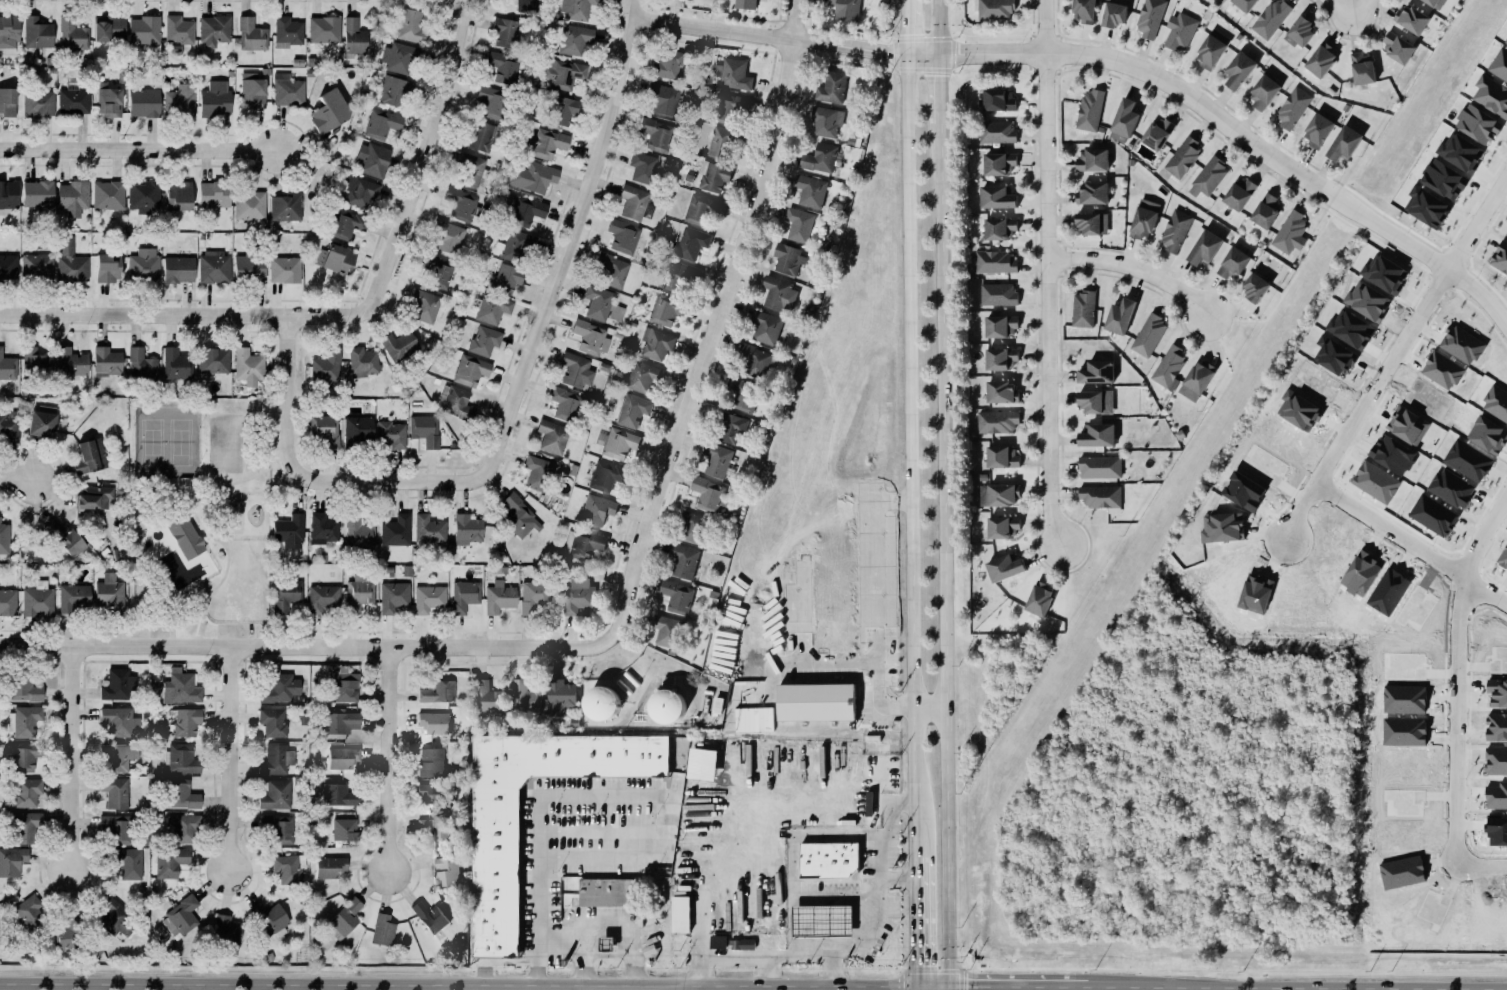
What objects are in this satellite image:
building: (1215, 0)
building: (1435, 3)
building: (1245, 4)
building: (527, 5)
building: (747, 6)
building: (574, 8)
building: (846, 9)
building: (995, 9)
building: (1084, 11)
building: (1114, 14)
road: (1347, 16)
building: (1150, 17)
building: (1271, 19)
building: (1412, 19)
building: (411, 26)
building: (107, 28)
road: (906, 28)
building: (324, 29)
road: (937, 29)
building: (144, 30)
building: (178, 30)
building: (214, 30)
building: (504, 31)
building: (1180, 31)
building: (34, 32)
building: (1300, 32)
building: (289, 33)
building: (8, 34)
building: (72, 34)
building: (251, 35)
building: (574, 39)
building: (356, 40)
building: (1506, 44)
building: (1212, 48)
building: (1398, 48)
road: (1005, 56)
building: (400, 57)
building: (666, 64)
building: (1499, 64)
building: (503, 67)
building: (1362, 69)
building: (1239, 70)
building: (561, 72)
building: (732, 74)
building: (832, 88)
road: (938, 89)
building: (252, 90)
building: (288, 90)
building: (394, 91)
building: (1263, 92)
building: (1491, 95)
building: (212, 98)
building: (71, 99)
building: (664, 99)
building: (109, 100)
building: (180, 100)
building: (998, 100)
building: (490, 101)
building: (7, 102)
building: (144, 102)
building: (38, 103)
building: (727, 106)
building: (1293, 107)
building: (560, 110)
building: (1090, 110)
building: (329, 111)
building: (1124, 121)
building: (379, 123)
building: (828, 124)
building: (1479, 124)
building: (1318, 130)
building: (997, 132)
building: (656, 133)
building: (1157, 133)
building: (481, 136)
building: (722, 142)
building: (546, 143)
building: (1344, 144)
road: (139, 150)
road: (429, 155)
building: (1183, 156)
building: (371, 158)
building: (820, 158)
building: (1092, 160)
building: (999, 164)
building: (642, 167)
building: (466, 168)
building: (530, 177)
building: (713, 177)
building: (1208, 177)
building: (1444, 179)
building: (360, 191)
building: (811, 192)
building: (107, 193)
building: (1093, 193)
building: (1239, 193)
building: (9, 194)
building: (214, 194)
building: (142, 195)
building: (179, 195)
building: (40, 196)
building: (73, 197)
building: (997, 197)
building: (459, 202)
road: (589, 202)
building: (633, 202)
building: (249, 205)
building: (286, 207)
building: (701, 209)
building: (524, 210)
building: (1267, 210)
building: (1144, 218)
building: (342, 221)
building: (1092, 223)
building: (797, 226)
building: (1000, 229)
building: (1175, 230)
building: (1290, 233)
building: (448, 236)
building: (623, 236)
building: (689, 243)
building: (518, 246)
building: (1205, 248)
building: (1500, 257)
building: (333, 258)
building: (787, 259)
building: (68, 261)
road: (1429, 261)
building: (996, 262)
building: (143, 263)
building: (1233, 264)
building: (247, 265)
building: (37, 266)
building: (211, 266)
building: (105, 267)
building: (10, 268)
building: (611, 268)
building: (178, 269)
building: (284, 269)
building: (437, 270)
road: (1131, 272)
road: (1046, 274)
building: (677, 276)
building: (507, 278)
road: (732, 287)
building: (1255, 288)
building: (779, 294)
building: (998, 294)
building: (598, 302)
building: (426, 305)
building: (491, 307)
building: (1083, 309)
building: (666, 310)
road: (186, 311)
building: (1120, 316)
building: (1001, 326)
building: (768, 328)
building: (1149, 335)
building: (591, 337)
building: (482, 340)
building: (657, 343)
building: (399, 345)
building: (754, 357)
road: (293, 358)
building: (33, 359)
building: (1001, 359)
building: (69, 361)
building: (107, 361)
building: (363, 362)
building: (139, 364)
building: (214, 364)
building: (176, 365)
building: (246, 365)
building: (1169, 366)
building: (7, 367)
building: (327, 368)
building: (470, 370)
building: (576, 370)
building: (1097, 372)
building: (640, 376)
building: (1196, 381)
building: (1001, 392)
building: (743, 394)
building: (455, 402)
building: (1096, 402)
building: (564, 403)
building: (633, 410)
building: (997, 421)
building: (42, 422)
building: (1408, 425)
building: (9, 426)
building: (730, 428)
parking lot: (271, 429)
building: (325, 429)
building: (358, 429)
building: (425, 430)
building: (392, 434)
building: (1098, 435)
building: (550, 436)
road: (1338, 440)
park: (164, 441)
park: (223, 441)
building: (619, 444)
road: (261, 445)
building: (87, 456)
building: (1002, 457)
road: (278, 459)
building: (717, 460)
road: (276, 463)
road: (280, 465)
building: (1100, 467)
road: (262, 470)
building: (538, 472)
road: (280, 476)
building: (605, 476)
road: (910, 477)
road: (18, 479)
road: (402, 480)
building: (1376, 482)
road: (222, 485)
road: (176, 487)
building: (1452, 488)
building: (999, 495)
building: (92, 496)
building: (1101, 496)
building: (709, 497)
road: (1298, 508)
building: (594, 509)
park: (198, 514)
road: (194, 515)
building: (521, 518)
building: (690, 526)
building: (1003, 527)
building: (324, 528)
building: (467, 529)
building: (181, 530)
building: (397, 530)
building: (289, 531)
building: (431, 532)
building: (358, 534)
road: (196, 536)
building: (63, 537)
building: (3, 538)
building: (583, 544)
road: (941, 552)
building: (1503, 559)
building: (682, 560)
road: (224, 567)
building: (1004, 567)
building: (110, 592)
building: (287, 596)
building: (578, 596)
building: (73, 597)
building: (320, 597)
building: (497, 597)
building: (677, 597)
road: (1479, 597)
building: (532, 598)
building: (362, 599)
building: (464, 599)
building: (38, 600)
building: (394, 600)
building: (429, 601)
building: (8, 602)
road: (877, 602)
road: (199, 612)
road: (205, 619)
road: (159, 623)
road: (234, 623)
road: (195, 624)
road: (261, 629)
building: (666, 630)
parking lot: (161, 631)
parking lot: (233, 631)
road: (190, 635)
road: (196, 635)
road: (203, 645)
road: (343, 645)
road: (213, 657)
road: (802, 664)
building: (118, 685)
building: (276, 688)
building: (180, 689)
building: (345, 689)
building: (24, 690)
building: (438, 691)
building: (558, 695)
building: (525, 697)
building: (487, 698)
building: (816, 702)
building: (602, 703)
building: (667, 706)
road: (928, 709)
road: (878, 713)
building: (119, 721)
building: (271, 721)
building: (186, 722)
building: (336, 722)
building: (434, 722)
building: (26, 723)
road: (1443, 752)
road: (72, 755)
building: (115, 755)
road: (232, 757)
building: (343, 757)
road: (389, 758)
building: (27, 759)
building: (276, 759)
building: (184, 761)
building: (433, 763)
building: (27, 791)
building: (115, 791)
building: (182, 794)
building: (276, 794)
building: (337, 794)
road: (605, 795)
building: (432, 797)
building: (869, 803)
building: (24, 827)
building: (184, 827)
building: (117, 828)
building: (277, 828)
building: (436, 828)
building: (344, 829)
road: (884, 840)
road: (737, 842)
building: (12, 860)
building: (829, 860)
building: (170, 861)
building: (129, 863)
building: (329, 867)
building: (289, 868)
building: (447, 870)
building: (496, 875)
building: (606, 892)
building: (660, 892)
road: (804, 897)
building: (30, 911)
building: (681, 914)
building: (344, 916)
building: (430, 916)
building: (181, 917)
building: (114, 918)
building: (269, 918)
building: (822, 921)
gas station: (823, 921)
building: (226, 929)
road: (610, 929)
building: (383, 930)
building: (67, 934)
road: (915, 941)
building: (718, 942)
building: (606, 943)
building: (742, 944)
road: (797, 953)
road: (582, 956)
road: (498, 964)
road: (831, 968)
road: (765, 969)
traffic signals: (916, 983)
road: (934, 983)
road: (458, 984)
traffic signals: (953, 984)
road: (1012, 984)
road: (1097, 985)
road: (916, 986)
road: (1315, 986)
road: (582, 987)
road: (631, 987)
road: (952, 987)

